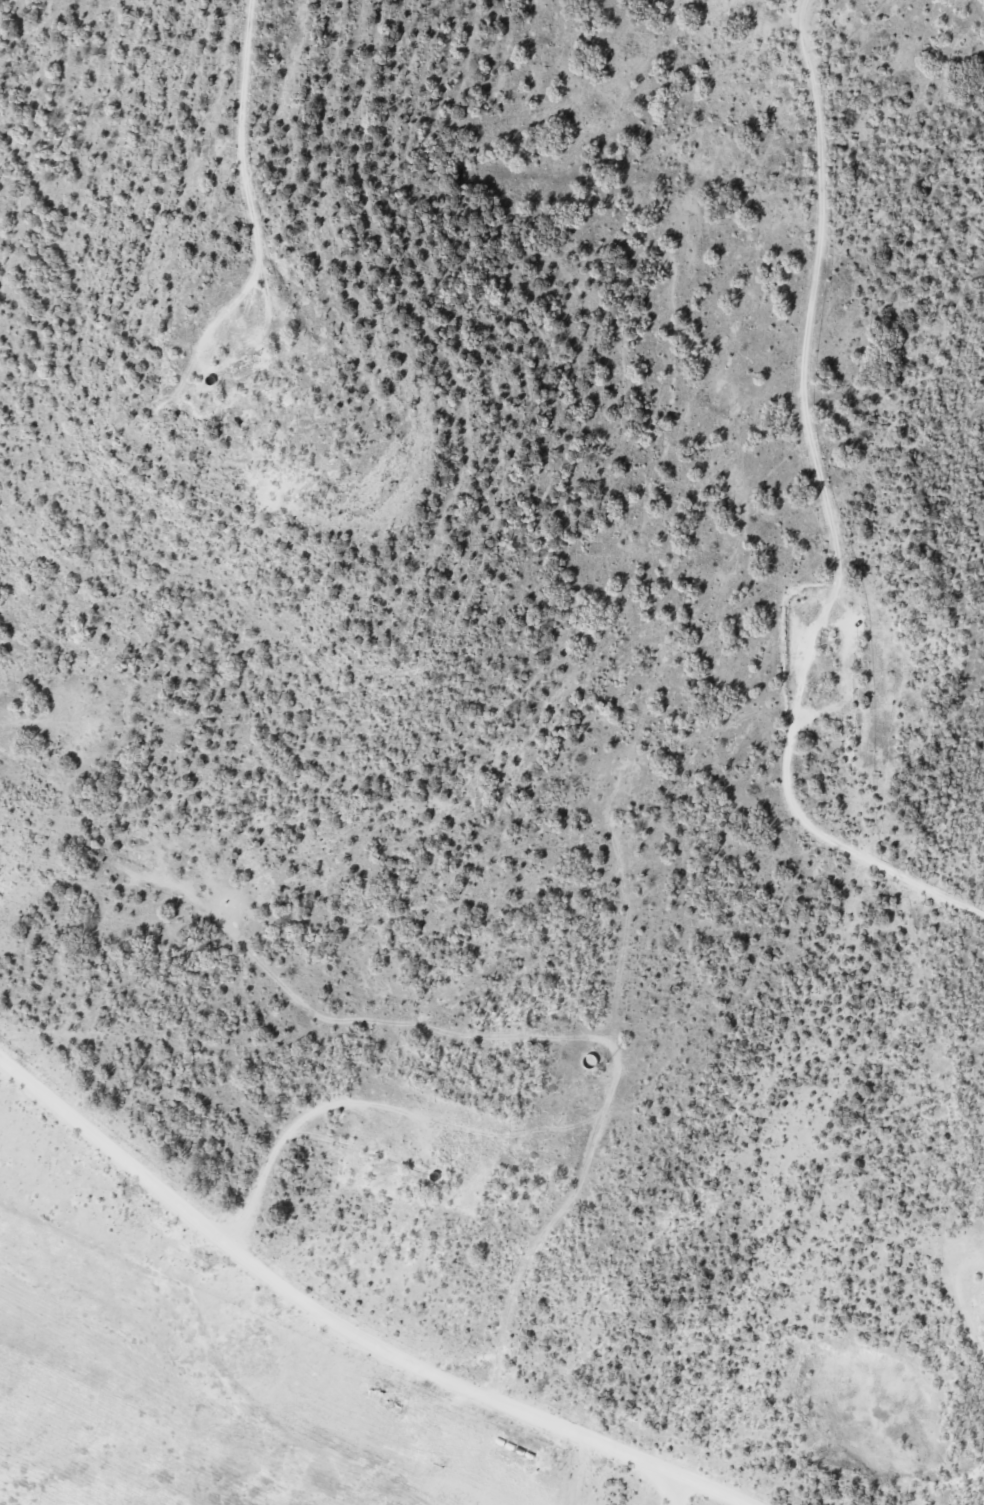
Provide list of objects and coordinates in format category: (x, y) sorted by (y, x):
road: (341, 1314)
road: (702, 1499)

